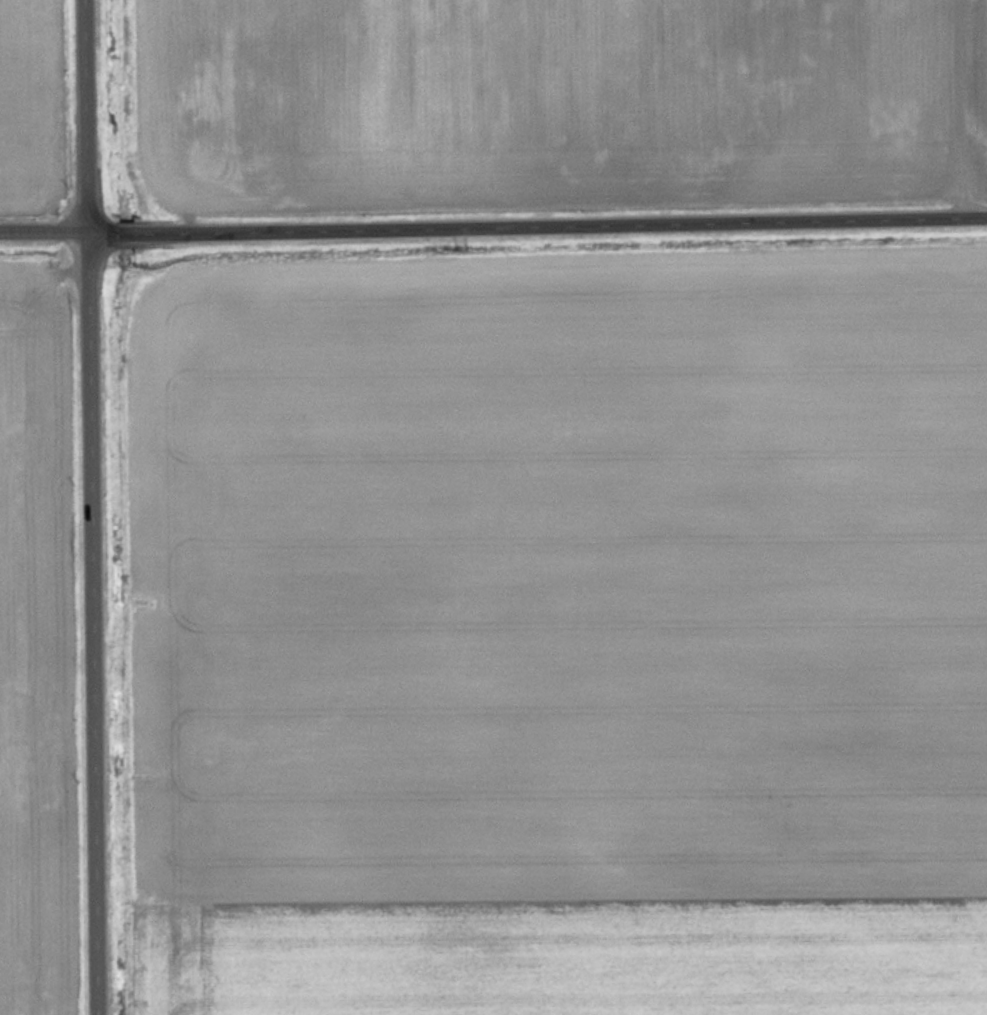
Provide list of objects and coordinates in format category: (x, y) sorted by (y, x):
road: (957, 112)
road: (96, 120)
road: (493, 233)
road: (103, 627)

